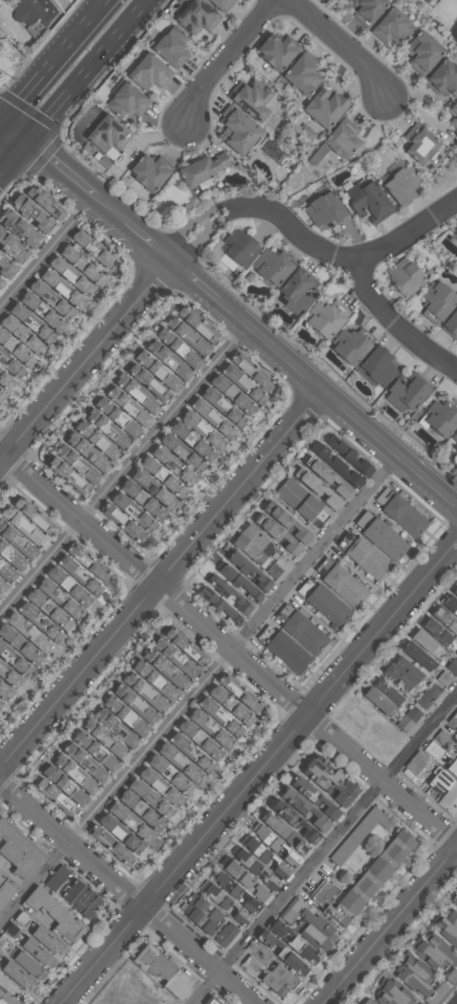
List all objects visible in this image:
building: (431, 2)
building: (222, 4)
building: (368, 10)
building: (32, 14)
building: (196, 16)
building: (392, 26)
building: (171, 45)
road: (339, 45)
building: (277, 50)
building: (423, 52)
road: (52, 60)
road: (222, 60)
road: (87, 71)
building: (148, 71)
building: (303, 73)
building: (443, 78)
building: (252, 99)
building: (125, 100)
building: (325, 106)
building: (453, 113)
building: (237, 131)
building: (107, 133)
road: (12, 135)
building: (337, 140)
traffic signals: (25, 143)
building: (419, 143)
building: (274, 150)
road: (12, 157)
road: (63, 167)
building: (203, 167)
building: (148, 171)
building: (401, 184)
building: (366, 198)
building: (51, 202)
road: (112, 209)
building: (324, 209)
building: (40, 215)
building: (20, 229)
building: (456, 230)
building: (455, 234)
road: (150, 240)
building: (455, 240)
road: (311, 241)
building: (17, 246)
building: (239, 247)
building: (98, 249)
road: (49, 253)
building: (87, 266)
building: (271, 266)
building: (6, 268)
building: (405, 276)
road: (195, 279)
building: (78, 280)
building: (1, 283)
building: (69, 289)
building: (297, 290)
building: (436, 301)
building: (59, 302)
building: (48, 314)
building: (326, 317)
building: (35, 323)
building: (204, 325)
road: (396, 325)
building: (451, 325)
building: (30, 338)
building: (185, 339)
building: (351, 344)
building: (170, 345)
building: (18, 352)
building: (172, 358)
road: (86, 360)
building: (377, 366)
building: (11, 367)
building: (150, 368)
building: (254, 373)
building: (5, 381)
building: (146, 381)
building: (235, 383)
building: (406, 391)
building: (1, 395)
building: (144, 395)
building: (238, 397)
road: (336, 403)
building: (217, 408)
building: (137, 409)
building: (109, 415)
building: (441, 416)
building: (204, 417)
building: (114, 430)
building: (197, 432)
building: (90, 439)
building: (454, 439)
building: (198, 442)
building: (345, 453)
building: (95, 454)
building: (190, 457)
building: (334, 464)
building: (177, 465)
building: (86, 466)
road: (124, 473)
building: (65, 476)
building: (168, 478)
building: (329, 478)
building: (315, 487)
building: (159, 488)
building: (298, 498)
building: (148, 502)
building: (400, 512)
building: (40, 516)
building: (141, 516)
building: (285, 521)
building: (123, 525)
building: (16, 527)
building: (276, 533)
building: (381, 536)
building: (6, 540)
building: (1, 543)
building: (259, 550)
building: (363, 556)
building: (15, 561)
building: (91, 565)
building: (67, 567)
building: (248, 570)
building: (7, 574)
road: (161, 580)
building: (238, 582)
building: (341, 582)
building: (2, 586)
building: (92, 587)
building: (74, 588)
building: (455, 588)
building: (46, 589)
building: (229, 594)
building: (64, 595)
building: (450, 602)
building: (324, 603)
building: (219, 606)
building: (70, 609)
building: (54, 611)
building: (31, 621)
building: (441, 625)
building: (301, 629)
building: (22, 634)
building: (425, 640)
building: (181, 644)
building: (20, 646)
road: (229, 648)
building: (284, 649)
building: (456, 652)
building: (419, 655)
building: (165, 657)
building: (17, 663)
building: (453, 666)
building: (405, 669)
building: (158, 670)
building: (396, 677)
building: (445, 677)
building: (10, 678)
building: (146, 678)
building: (233, 683)
road: (199, 689)
building: (385, 692)
building: (4, 693)
building: (138, 693)
building: (427, 695)
building: (376, 700)
building: (248, 702)
building: (0, 704)
building: (125, 704)
building: (235, 706)
building: (117, 714)
building: (210, 715)
building: (407, 719)
building: (90, 727)
building: (120, 727)
building: (456, 728)
building: (203, 729)
building: (103, 730)
building: (204, 742)
building: (114, 747)
building: (181, 751)
building: (88, 752)
building: (90, 762)
building: (415, 762)
building: (172, 763)
building: (453, 766)
road: (259, 772)
building: (82, 776)
building: (174, 776)
building: (327, 778)
building: (57, 786)
building: (167, 790)
building: (450, 793)
building: (312, 797)
building: (156, 799)
building: (52, 801)
building: (302, 809)
building: (141, 812)
building: (133, 821)
building: (292, 821)
building: (282, 833)
building: (358, 834)
building: (127, 836)
building: (273, 845)
building: (110, 846)
road: (325, 849)
building: (18, 852)
building: (263, 856)
building: (253, 866)
building: (56, 877)
building: (242, 878)
building: (0, 879)
building: (361, 881)
building: (233, 891)
building: (5, 892)
road: (129, 892)
building: (79, 898)
building: (454, 899)
building: (223, 902)
building: (291, 909)
building: (247, 910)
building: (53, 913)
building: (199, 913)
road: (391, 926)
building: (447, 926)
building: (315, 929)
building: (275, 933)
building: (225, 934)
building: (49, 940)
building: (285, 942)
building: (40, 952)
building: (288, 955)
building: (437, 956)
building: (254, 959)
building: (30, 964)
building: (159, 970)
building: (20, 975)
building: (277, 980)
building: (418, 980)
building: (392, 993)
building: (8, 997)
building: (213, 1000)
building: (369, 1001)
road: (456, 1003)

